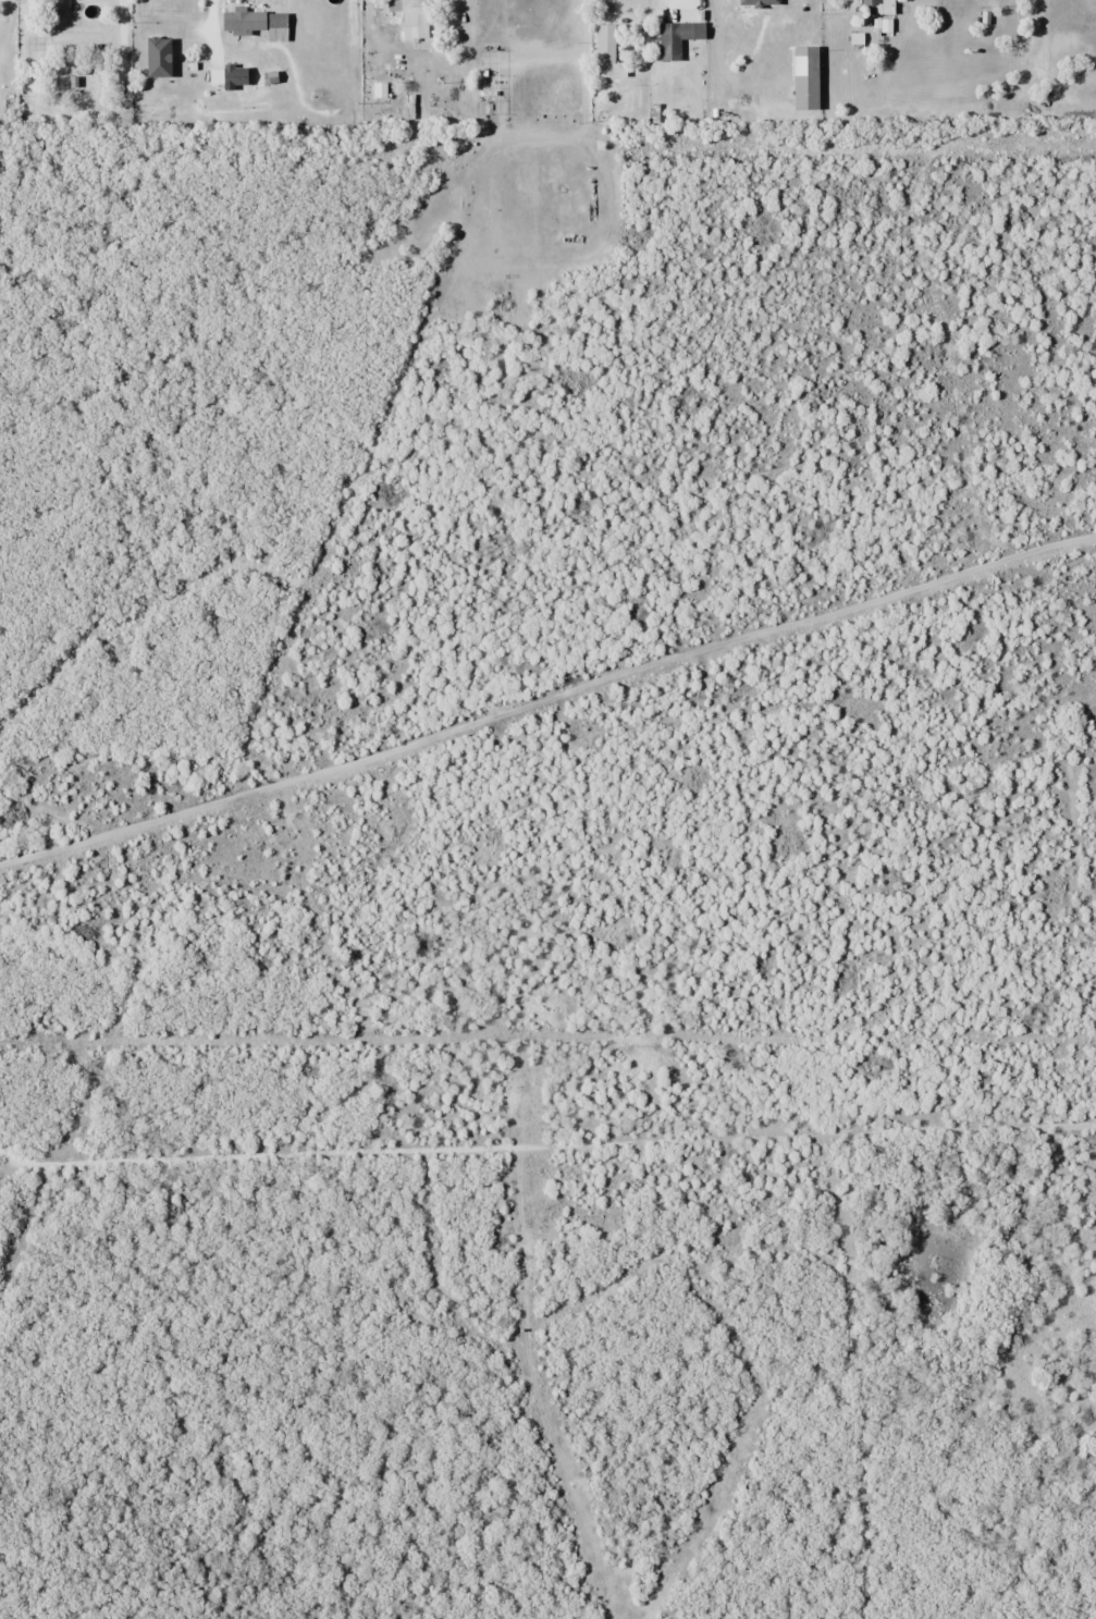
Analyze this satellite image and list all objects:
building: (760, 2)
building: (879, 7)
building: (412, 16)
building: (245, 21)
road: (120, 27)
building: (674, 39)
building: (607, 52)
building: (805, 77)

